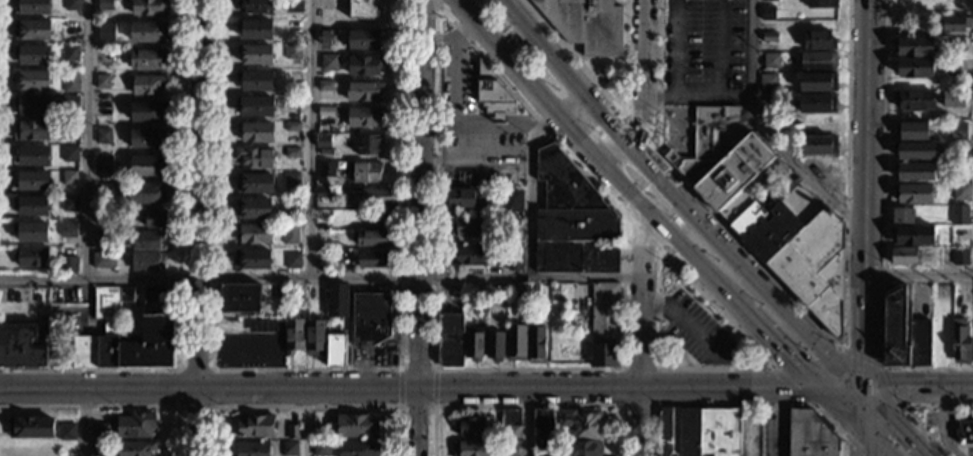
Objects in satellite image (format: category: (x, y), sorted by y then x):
building: (770, 0)
road: (436, 3)
road: (439, 3)
building: (822, 4)
building: (72, 5)
building: (104, 5)
building: (256, 6)
building: (293, 6)
building: (32, 7)
building: (150, 7)
building: (363, 9)
building: (767, 12)
road: (447, 16)
road: (698, 23)
building: (587, 24)
building: (954, 24)
building: (292, 27)
building: (71, 28)
building: (31, 30)
building: (106, 30)
building: (255, 30)
building: (147, 32)
building: (684, 33)
building: (769, 36)
building: (325, 37)
building: (365, 40)
building: (819, 40)
parking lot: (706, 45)
building: (956, 45)
building: (913, 47)
building: (70, 52)
building: (293, 52)
road: (698, 53)
building: (33, 55)
building: (255, 55)
road: (625, 56)
road: (506, 57)
road: (575, 57)
road: (600, 57)
building: (147, 58)
building: (771, 61)
building: (818, 61)
building: (329, 63)
building: (366, 65)
building: (913, 69)
road: (562, 72)
road: (643, 75)
road: (659, 77)
building: (32, 80)
road: (475, 80)
building: (71, 81)
building: (768, 81)
building: (102, 82)
building: (257, 82)
building: (818, 82)
building: (149, 85)
building: (325, 86)
building: (364, 91)
building: (493, 92)
road: (697, 96)
building: (951, 99)
building: (914, 100)
building: (767, 103)
building: (70, 104)
road: (570, 104)
building: (818, 104)
building: (32, 105)
building: (256, 107)
road: (847, 109)
road: (864, 110)
building: (326, 111)
road: (453, 111)
building: (147, 112)
road: (496, 116)
building: (498, 116)
building: (364, 117)
road: (566, 124)
building: (818, 124)
building: (292, 126)
building: (70, 128)
road: (636, 129)
building: (31, 130)
building: (958, 130)
building: (908, 131)
building: (256, 132)
road: (764, 134)
building: (103, 136)
road: (86, 138)
building: (148, 138)
road: (308, 138)
building: (322, 141)
building: (370, 145)
building: (818, 145)
road: (600, 147)
building: (915, 151)
building: (292, 152)
building: (70, 154)
building: (32, 156)
building: (255, 157)
building: (724, 163)
building: (104, 164)
building: (146, 165)
building: (821, 168)
building: (326, 169)
road: (666, 171)
building: (367, 173)
building: (915, 173)
building: (69, 178)
road: (656, 179)
building: (291, 180)
road: (617, 180)
building: (32, 181)
building: (254, 184)
road: (530, 189)
road: (646, 189)
building: (102, 191)
building: (960, 192)
building: (145, 193)
building: (324, 193)
road: (416, 194)
building: (913, 194)
road: (199, 195)
building: (377, 197)
road: (636, 197)
building: (462, 199)
building: (512, 201)
building: (70, 204)
building: (31, 206)
building: (291, 206)
road: (626, 207)
building: (252, 210)
building: (465, 215)
building: (960, 215)
building: (903, 216)
building: (379, 217)
building: (106, 218)
building: (748, 218)
building: (157, 219)
building: (573, 221)
building: (511, 227)
building: (469, 228)
building: (69, 229)
road: (882, 229)
building: (773, 231)
building: (31, 232)
building: (254, 233)
building: (290, 234)
building: (101, 236)
road: (647, 237)
building: (913, 237)
building: (372, 239)
building: (146, 240)
building: (470, 255)
building: (904, 256)
building: (30, 257)
building: (515, 258)
building: (960, 258)
building: (253, 259)
building: (103, 260)
building: (376, 260)
road: (692, 260)
building: (147, 261)
building: (292, 261)
building: (68, 264)
building: (816, 266)
road: (741, 268)
road: (178, 272)
road: (919, 275)
road: (321, 277)
building: (534, 291)
road: (788, 292)
building: (470, 294)
building: (15, 295)
building: (159, 295)
building: (493, 297)
building: (240, 298)
building: (337, 300)
road: (863, 304)
road: (642, 305)
road: (709, 313)
building: (370, 318)
road: (686, 322)
building: (604, 325)
building: (159, 326)
building: (262, 327)
road: (658, 329)
road: (738, 331)
building: (904, 331)
building: (293, 336)
building: (315, 337)
building: (450, 340)
building: (960, 340)
road: (771, 341)
building: (516, 343)
building: (474, 344)
building: (495, 345)
building: (536, 345)
building: (23, 346)
road: (678, 349)
building: (336, 350)
road: (846, 350)
building: (753, 352)
traffic signals: (862, 353)
traffic signals: (787, 357)
road: (177, 368)
road: (306, 368)
road: (417, 369)
road: (559, 369)
road: (400, 387)
road: (433, 387)
road: (917, 387)
road: (527, 388)
road: (729, 388)
road: (830, 388)
road: (851, 388)
traffic signals: (896, 388)
road: (306, 389)
traffic signals: (787, 389)
road: (98, 390)
road: (861, 397)
road: (656, 403)
road: (740, 404)
road: (113, 406)
road: (306, 406)
road: (416, 406)
road: (527, 406)
road: (904, 406)
road: (840, 409)
road: (959, 414)
building: (510, 417)
road: (862, 418)
road: (895, 420)
building: (913, 420)
road: (639, 421)
road: (302, 422)
road: (414, 422)
road: (525, 422)
road: (777, 422)
road: (88, 423)
road: (197, 423)
road: (946, 423)
building: (581, 424)
building: (136, 425)
building: (351, 426)
traffic signals: (900, 426)
building: (256, 427)
building: (470, 427)
building: (31, 428)
building: (67, 432)
building: (101, 432)
building: (292, 432)
building: (698, 432)
building: (963, 432)
building: (543, 433)
building: (510, 434)
building: (810, 435)
road: (876, 442)
road: (862, 443)
road: (854, 444)
building: (508, 447)
building: (136, 448)
building: (358, 448)
building: (472, 448)
building: (586, 448)
building: (98, 449)
building: (252, 449)
building: (289, 449)
building: (322, 449)

